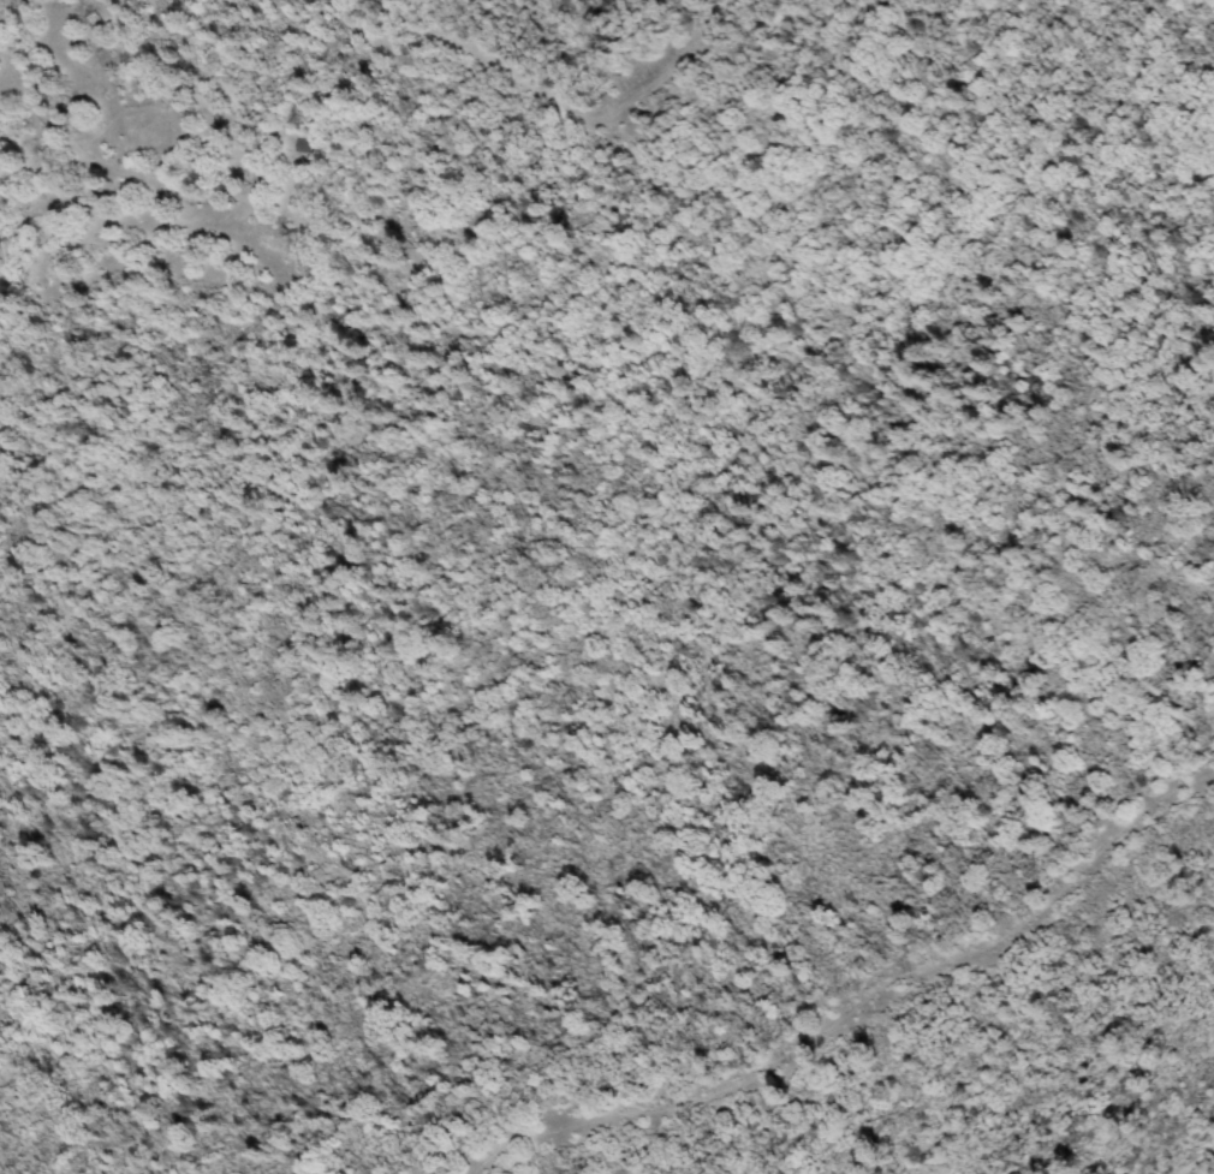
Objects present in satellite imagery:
building: (94, 19)
building: (300, 145)
building: (292, 148)
road: (857, 1005)

